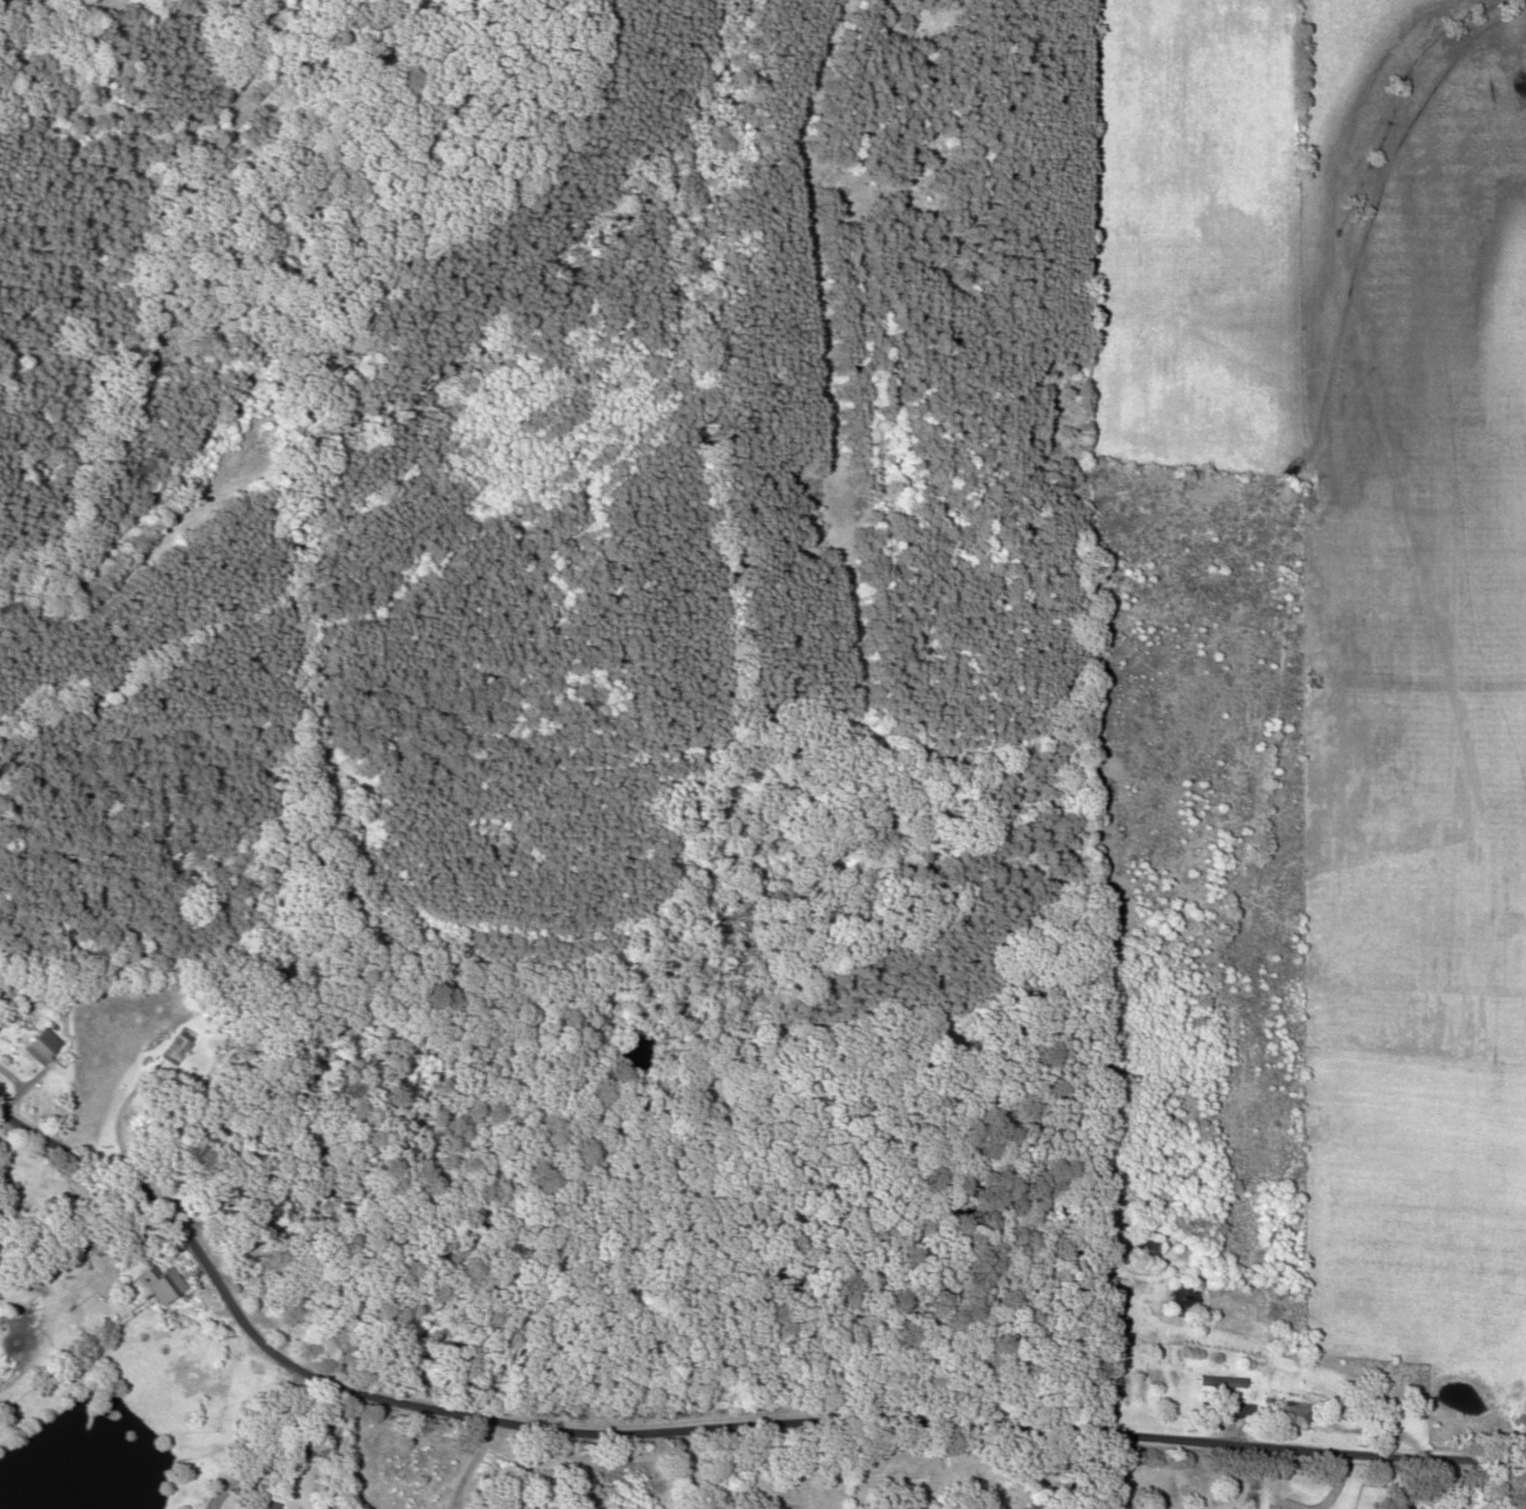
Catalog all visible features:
building: (0, 1022)
building: (42, 1045)
building: (176, 1047)
building: (1146, 1251)
building: (160, 1284)
building: (1181, 1299)
building: (269, 1300)
building: (1221, 1382)
building: (1233, 1411)
building: (1293, 1415)
road: (705, 1430)
building: (260, 1504)
building: (1032, 1505)

